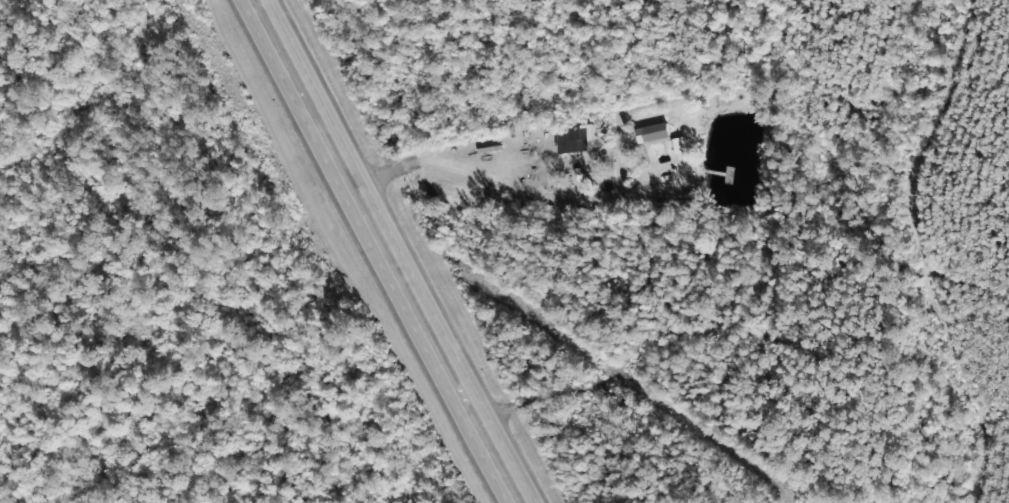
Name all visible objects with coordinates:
building: (651, 132)
building: (574, 137)
road: (386, 251)

